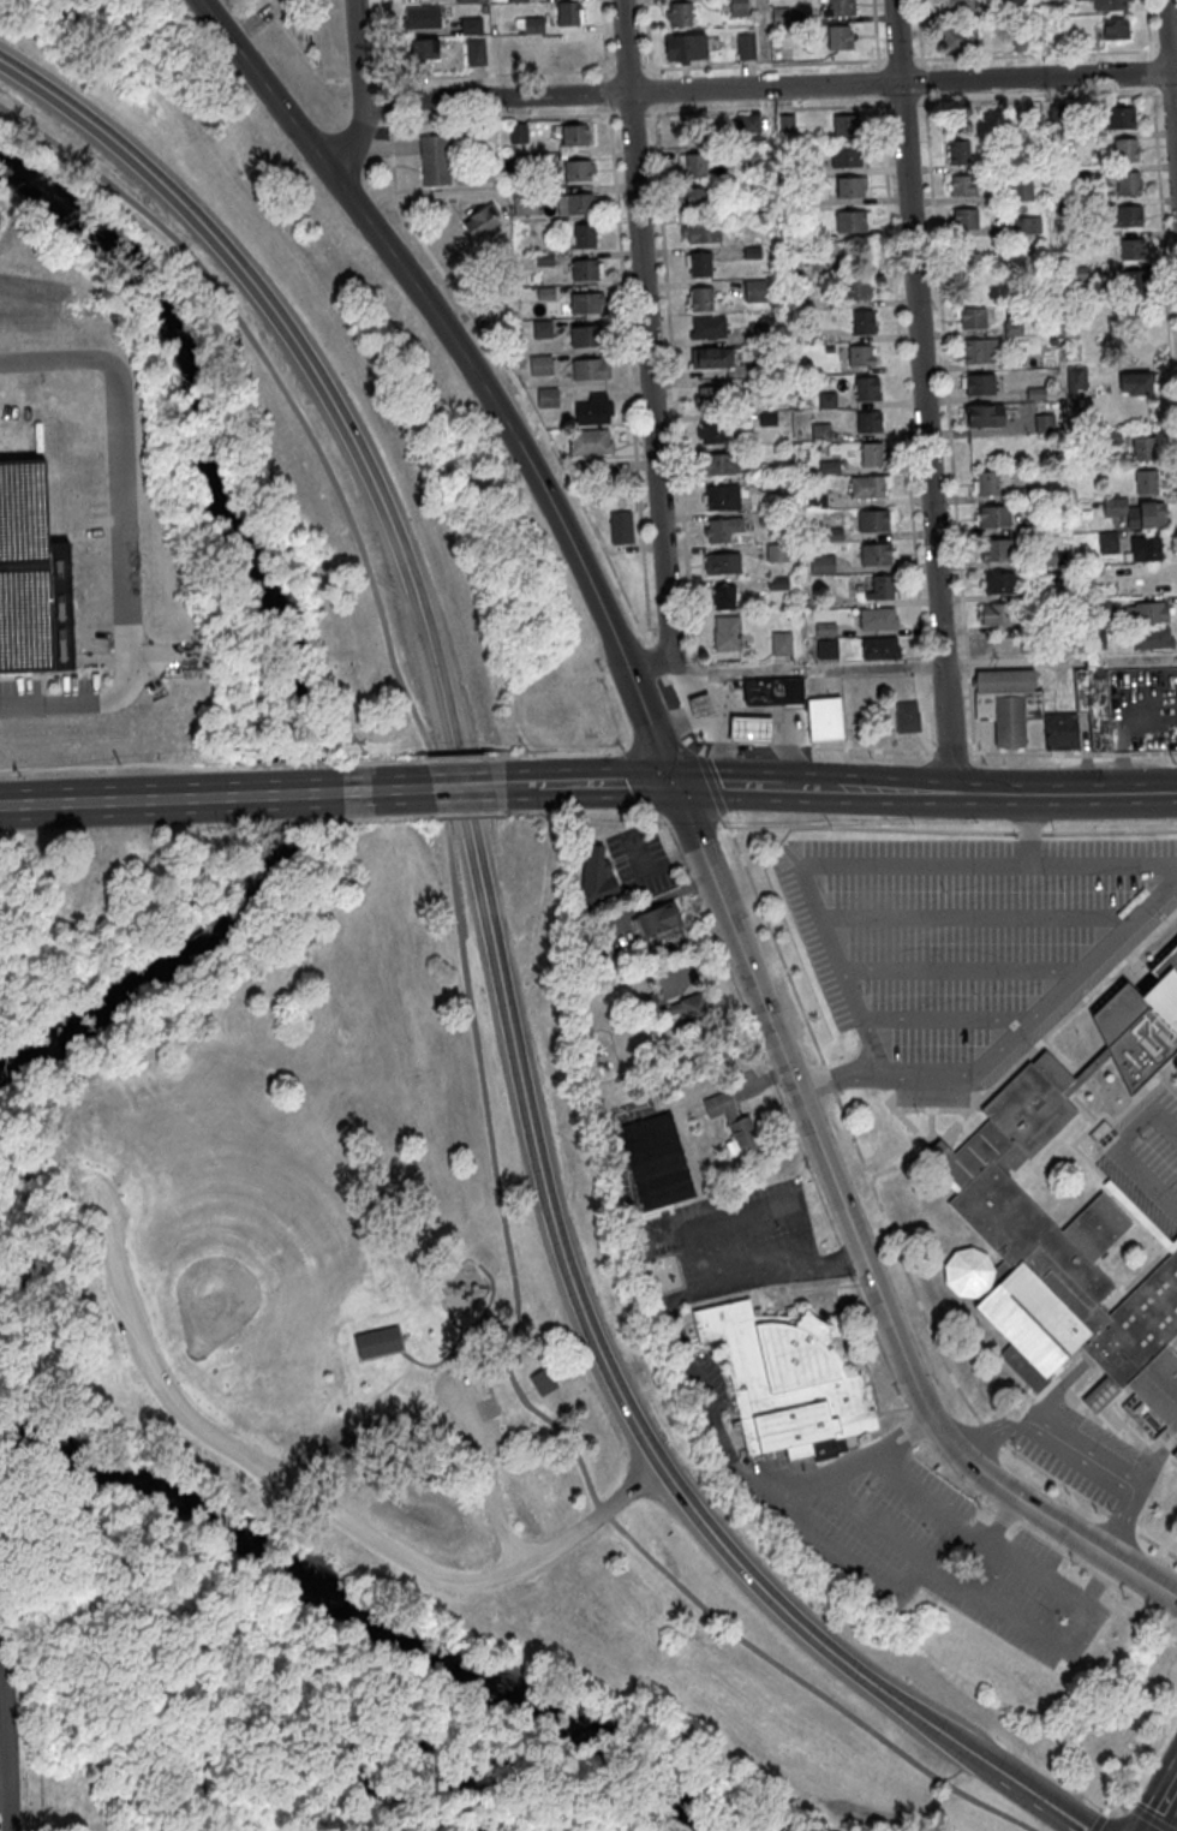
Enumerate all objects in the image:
building: (470, 0)
building: (516, 0)
building: (292, 1)
building: (1110, 2)
building: (957, 4)
building: (739, 6)
building: (840, 6)
building: (1011, 6)
building: (568, 11)
building: (681, 11)
building: (782, 14)
building: (422, 17)
building: (472, 23)
building: (534, 23)
road: (1147, 24)
building: (1116, 26)
road: (876, 29)
road: (919, 29)
road: (647, 34)
building: (840, 34)
road: (316, 35)
road: (603, 35)
building: (960, 36)
road: (382, 38)
road: (294, 40)
building: (1020, 40)
building: (425, 43)
building: (686, 43)
road: (761, 43)
building: (747, 44)
building: (477, 49)
road: (1163, 49)
building: (573, 52)
road: (1035, 53)
building: (510, 58)
road: (898, 58)
road: (764, 62)
road: (628, 68)
road: (1149, 71)
road: (496, 73)
road: (1170, 78)
road: (356, 79)
road: (922, 79)
road: (878, 80)
road: (767, 87)
road: (358, 90)
road: (651, 90)
road: (608, 91)
road: (1165, 93)
road: (387, 97)
road: (1039, 97)
street lamp: (888, 100)
road: (902, 102)
road: (767, 107)
road: (631, 112)
building: (1057, 112)
building: (1119, 114)
road: (500, 117)
building: (751, 121)
building: (785, 121)
building: (846, 121)
building: (519, 131)
building: (575, 132)
building: (1063, 141)
building: (1125, 147)
building: (958, 151)
building: (847, 154)
building: (748, 155)
building: (435, 157)
building: (527, 160)
building: (697, 163)
building: (579, 168)
building: (489, 174)
building: (1064, 175)
building: (1128, 181)
building: (852, 184)
building: (964, 184)
building: (755, 185)
building: (1021, 190)
building: (694, 198)
building: (526, 199)
building: (581, 202)
building: (1067, 207)
building: (1127, 215)
building: (966, 216)
building: (759, 217)
building: (480, 219)
building: (854, 220)
building: (1026, 225)
building: (703, 231)
building: (585, 233)
building: (1133, 247)
building: (753, 251)
building: (545, 257)
building: (700, 262)
road: (1165, 264)
building: (586, 266)
building: (1075, 273)
building: (483, 280)
building: (1135, 280)
building: (858, 286)
building: (754, 288)
building: (546, 291)
building: (701, 297)
building: (800, 299)
building: (586, 300)
street lamp: (934, 308)
building: (973, 315)
building: (864, 320)
building: (1014, 323)
building: (709, 326)
building: (542, 327)
building: (1123, 329)
building: (758, 332)
building: (586, 333)
building: (1052, 340)
road: (646, 346)
building: (980, 347)
building: (830, 348)
building: (861, 353)
building: (712, 354)
building: (542, 363)
building: (770, 364)
building: (591, 366)
road: (945, 377)
road: (629, 378)
road: (515, 380)
road: (902, 381)
building: (1136, 381)
building: (980, 382)
building: (1076, 383)
road: (673, 387)
building: (767, 387)
building: (867, 387)
building: (1036, 393)
building: (548, 394)
building: (709, 395)
road: (921, 396)
building: (828, 399)
building: (595, 407)
building: (985, 412)
building: (769, 417)
building: (870, 419)
building: (1045, 422)
building: (711, 429)
building: (821, 431)
building: (1112, 437)
building: (591, 439)
building: (824, 446)
building: (1145, 446)
building: (781, 448)
building: (871, 452)
building: (719, 461)
building: (830, 466)
building: (1146, 479)
building: (987, 481)
building: (769, 482)
building: (870, 484)
building: (1026, 493)
building: (723, 495)
building: (817, 496)
building: (1135, 509)
street lamp: (949, 511)
building: (994, 514)
building: (770, 517)
building: (876, 519)
park: (95, 523)
building: (622, 524)
building: (1033, 525)
building: (723, 526)
building: (835, 533)
road: (123, 535)
building: (1109, 542)
building: (1146, 547)
building: (997, 548)
building: (777, 551)
building: (876, 553)
building: (1046, 554)
building: (1061, 557)
building: (723, 561)
park: (256, 562)
building: (823, 563)
building: (34, 577)
building: (1153, 580)
building: (778, 581)
building: (999, 581)
building: (882, 585)
building: (1040, 591)
building: (723, 594)
building: (825, 603)
building: (1099, 609)
building: (1147, 610)
building: (800, 612)
building: (997, 612)
building: (878, 616)
building: (826, 627)
building: (729, 632)
building: (1153, 636)
building: (1110, 637)
river: (281, 638)
building: (782, 642)
building: (880, 645)
building: (828, 648)
road: (656, 661)
road: (997, 661)
road: (922, 664)
road: (967, 664)
road: (884, 666)
road: (693, 669)
road: (724, 670)
road: (677, 678)
road: (667, 691)
building: (773, 693)
parking lot: (48, 696)
building: (695, 703)
building: (1094, 703)
building: (1008, 704)
road: (926, 712)
building: (908, 715)
road: (970, 715)
building: (823, 716)
road: (677, 720)
road: (745, 727)
building: (746, 727)
building: (1062, 733)
road: (691, 746)
road: (785, 748)
road: (805, 748)
road: (826, 748)
road: (753, 750)
road: (719, 751)
road: (698, 752)
road: (1009, 753)
road: (721, 756)
street lamp: (741, 756)
street lamp: (985, 764)
street lamp: (1176, 764)
road: (710, 782)
traffic signals: (671, 785)
road: (597, 786)
road: (746, 786)
road: (477, 788)
road: (416, 789)
road: (886, 791)
road: (372, 792)
road: (1064, 793)
road: (285, 795)
road: (112, 801)
road: (685, 817)
street lamp: (739, 817)
street lamp: (913, 824)
road: (872, 827)
road: (1027, 828)
street lamp: (1052, 829)
road: (1111, 830)
road: (1030, 831)
road: (882, 863)
building: (597, 875)
street lamp: (1063, 890)
street lamp: (821, 891)
street lamp: (944, 891)
road: (485, 914)
road: (980, 915)
building: (658, 922)
parking lot: (954, 928)
road: (773, 938)
road: (964, 970)
street lamp: (862, 992)
street lamp: (975, 994)
building: (674, 1009)
road: (1040, 1013)
road: (473, 1020)
road: (949, 1021)
building: (1176, 1066)
road: (838, 1078)
road: (831, 1079)
street lamp: (842, 1092)
street lamp: (919, 1115)
building: (733, 1123)
street lamp: (836, 1128)
parking lot: (1161, 1144)
road: (1115, 1152)
building: (656, 1161)
building: (985, 1182)
road: (781, 1206)
park: (363, 1239)
park: (234, 1248)
road: (902, 1257)
road: (760, 1276)
road: (453, 1322)
road: (462, 1330)
parking lot: (137, 1336)
building: (378, 1338)
road: (452, 1356)
building: (784, 1378)
building: (543, 1379)
street lamp: (938, 1383)
road: (701, 1388)
road: (526, 1390)
road: (1058, 1391)
road: (477, 1407)
parking lot: (465, 1409)
road: (988, 1430)
road: (1046, 1430)
street lamp: (1016, 1447)
parking lot: (1080, 1453)
building: (1175, 1455)
road: (1147, 1473)
road: (484, 1475)
road: (1056, 1478)
street lamp: (980, 1508)
road: (318, 1509)
street lamp: (1111, 1510)
road: (1004, 1517)
road: (1123, 1520)
road: (871, 1521)
road: (1123, 1522)
road: (1158, 1545)
road: (969, 1591)
river: (360, 1620)
park: (554, 1678)
road: (5, 1766)
road: (2, 1784)
road: (1034, 1793)
road: (1161, 1805)

